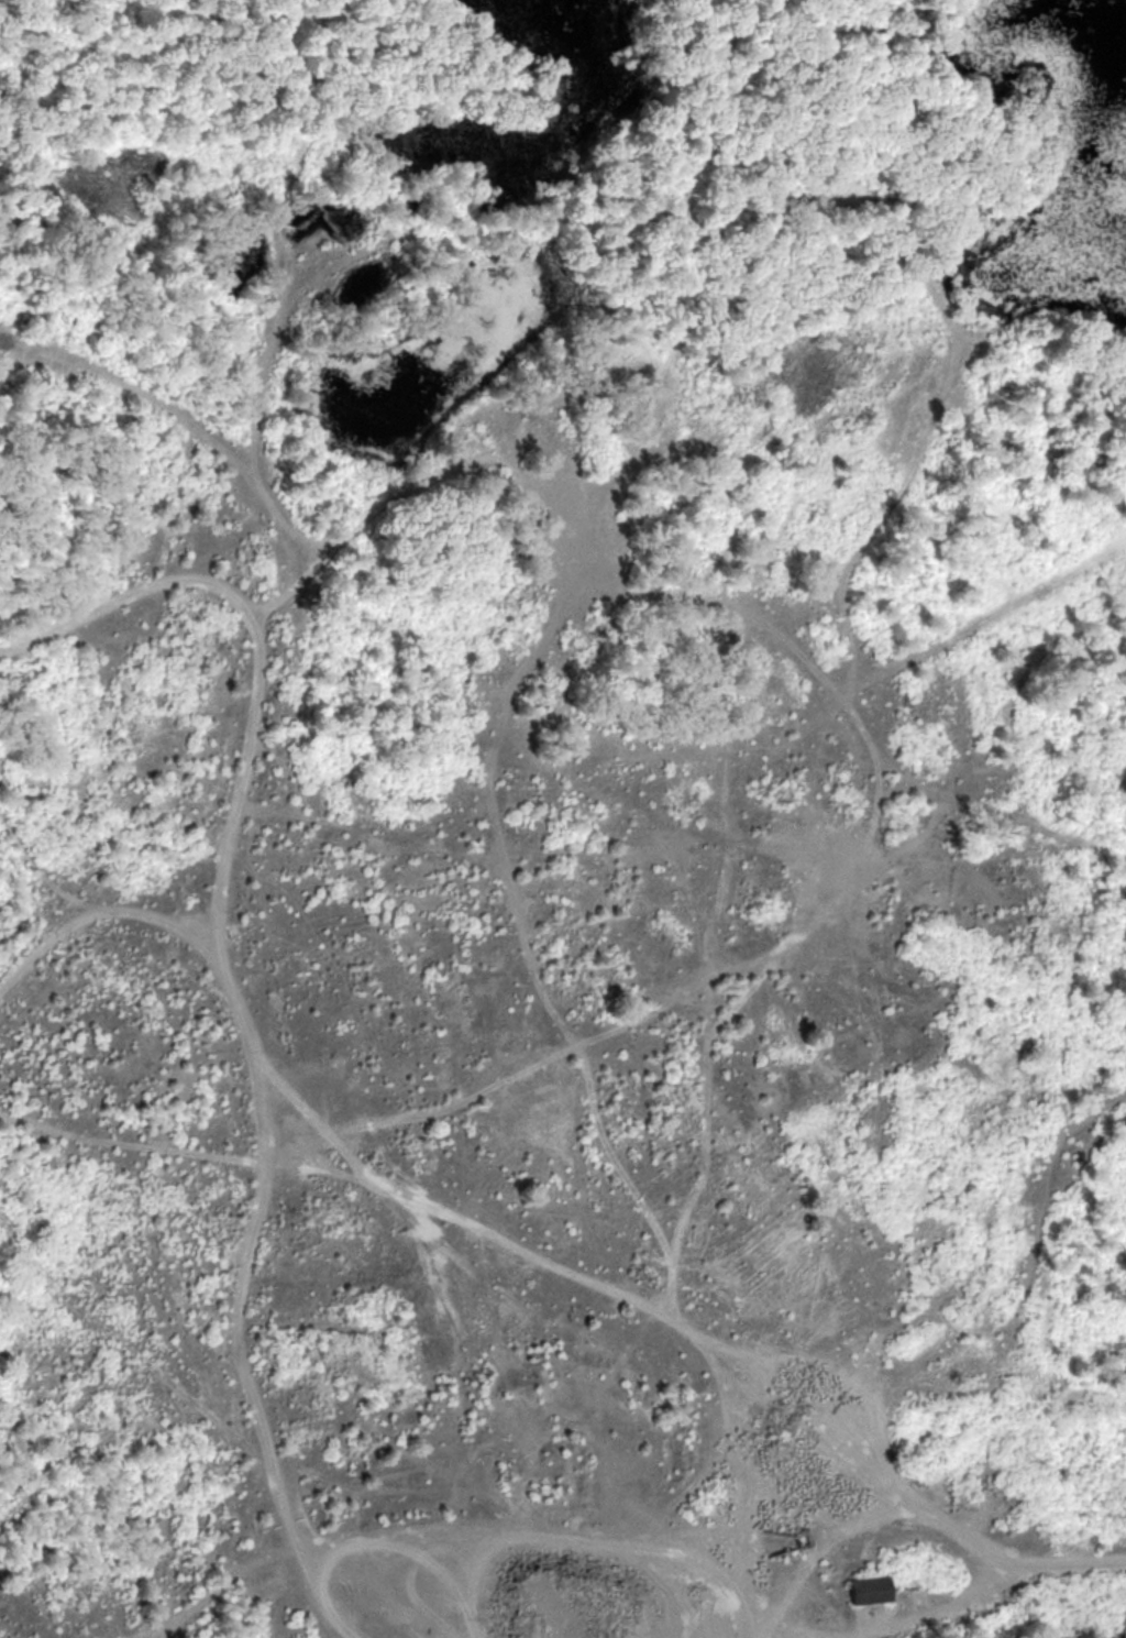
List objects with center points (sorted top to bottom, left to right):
road: (990, 1568)
building: (866, 1588)

